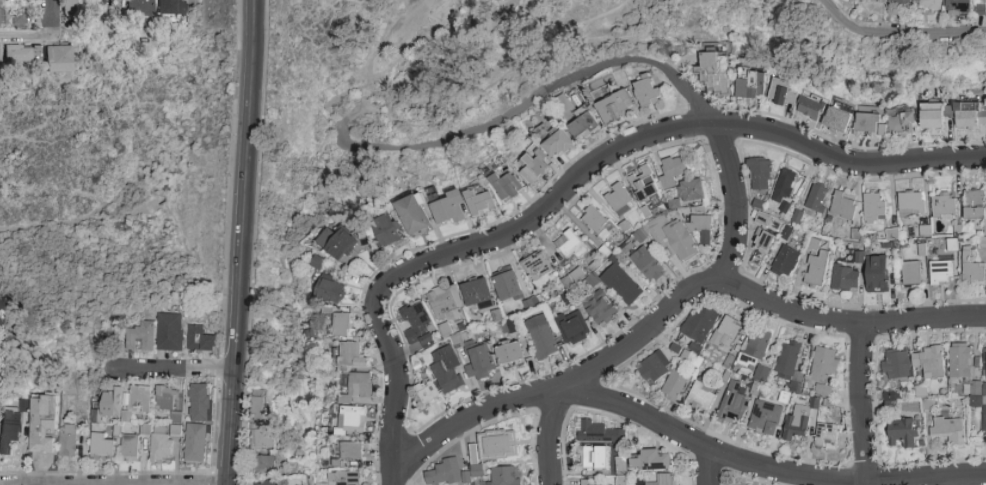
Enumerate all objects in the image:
building: (899, 2)
building: (930, 4)
building: (958, 6)
building: (0, 7)
building: (68, 7)
building: (139, 7)
building: (167, 7)
building: (19, 16)
road: (53, 19)
road: (843, 21)
road: (928, 34)
road: (27, 38)
building: (17, 53)
building: (57, 59)
road: (388, 62)
road: (610, 63)
building: (680, 67)
building: (715, 73)
building: (749, 84)
building: (647, 90)
building: (781, 93)
building: (563, 103)
building: (811, 105)
building: (615, 107)
building: (934, 116)
building: (971, 116)
building: (837, 120)
building: (902, 123)
building: (868, 124)
building: (584, 127)
building: (558, 145)
building: (534, 169)
building: (759, 175)
road: (581, 178)
building: (695, 181)
building: (507, 186)
building: (644, 186)
building: (783, 188)
building: (817, 198)
building: (618, 199)
building: (480, 201)
building: (843, 205)
building: (910, 205)
building: (974, 205)
building: (943, 206)
building: (874, 208)
building: (449, 209)
building: (413, 215)
building: (763, 219)
building: (594, 221)
road: (72, 224)
building: (704, 230)
building: (387, 231)
building: (680, 241)
building: (763, 241)
road: (242, 242)
building: (342, 245)
building: (571, 247)
building: (318, 262)
building: (785, 262)
building: (647, 264)
building: (538, 266)
building: (817, 270)
building: (972, 271)
building: (941, 273)
building: (878, 274)
building: (911, 275)
building: (845, 278)
building: (507, 286)
building: (625, 288)
building: (330, 291)
building: (476, 292)
road: (754, 293)
building: (444, 304)
building: (599, 308)
building: (700, 324)
building: (343, 325)
building: (417, 325)
building: (572, 330)
building: (171, 332)
building: (726, 333)
building: (142, 336)
building: (540, 337)
building: (201, 339)
building: (754, 346)
building: (352, 355)
building: (510, 355)
building: (787, 360)
building: (480, 361)
building: (929, 362)
building: (960, 362)
building: (825, 364)
building: (895, 365)
road: (168, 366)
building: (654, 368)
building: (446, 370)
building: (985, 378)
building: (360, 386)
building: (674, 386)
building: (426, 387)
building: (702, 396)
building: (140, 398)
building: (167, 399)
building: (200, 403)
road: (857, 403)
building: (258, 405)
building: (733, 405)
building: (107, 406)
road: (472, 416)
building: (175, 417)
building: (765, 418)
building: (353, 419)
building: (796, 422)
building: (984, 423)
building: (44, 424)
building: (947, 429)
building: (598, 433)
building: (903, 433)
building: (826, 435)
building: (10, 436)
road: (550, 436)
building: (262, 438)
building: (68, 440)
building: (196, 443)
building: (160, 444)
building: (101, 447)
building: (130, 447)
building: (352, 451)
building: (476, 457)
building: (593, 458)
building: (652, 460)
building: (266, 464)
building: (621, 466)
road: (707, 469)
road: (765, 470)
building: (504, 476)
building: (343, 478)
building: (620, 479)
building: (667, 479)
building: (577, 482)
building: (271, 483)
road: (217, 484)

